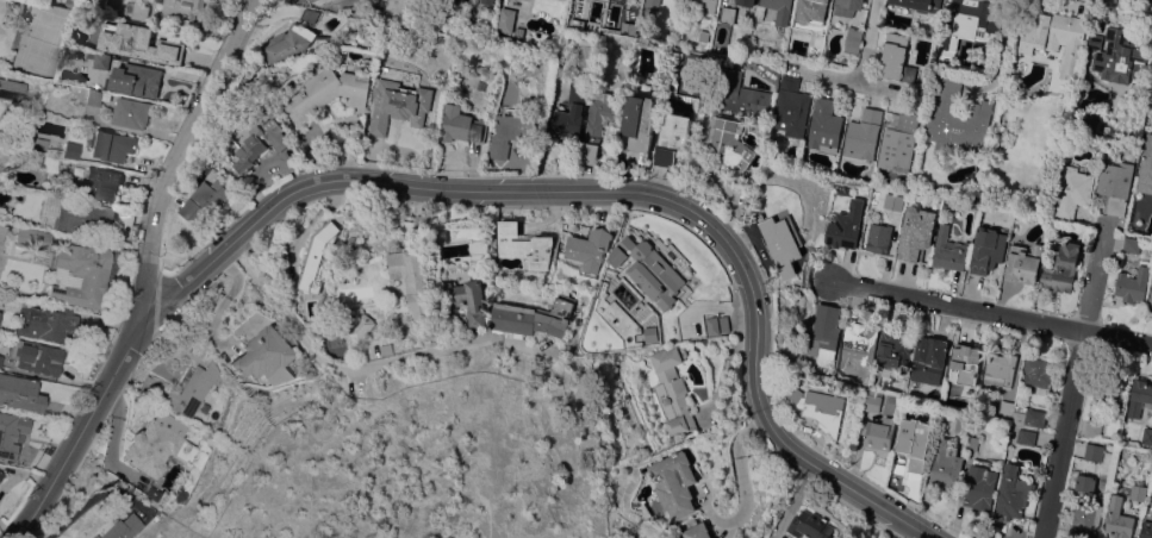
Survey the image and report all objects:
building: (486, 1)
building: (71, 2)
building: (746, 2)
building: (652, 4)
building: (708, 5)
building: (919, 5)
building: (846, 6)
building: (137, 10)
building: (779, 10)
building: (447, 11)
building: (810, 11)
building: (183, 12)
building: (311, 14)
building: (727, 14)
building: (506, 19)
building: (967, 23)
building: (1054, 37)
building: (853, 39)
building: (138, 42)
building: (289, 42)
building: (795, 43)
road: (872, 45)
building: (1116, 56)
building: (896, 58)
building: (101, 61)
building: (136, 79)
building: (11, 90)
building: (331, 92)
building: (96, 96)
building: (746, 98)
building: (399, 105)
building: (791, 107)
building: (131, 112)
building: (571, 114)
building: (957, 119)
building: (639, 121)
building: (729, 121)
building: (1090, 121)
building: (597, 123)
building: (461, 125)
building: (824, 126)
building: (512, 131)
building: (863, 134)
building: (672, 139)
building: (898, 142)
building: (39, 143)
building: (259, 144)
building: (111, 145)
building: (729, 146)
building: (71, 150)
road: (174, 151)
building: (39, 159)
building: (1146, 167)
building: (98, 183)
building: (1115, 186)
road: (486, 192)
building: (1072, 192)
building: (206, 200)
building: (895, 202)
building: (83, 217)
building: (422, 224)
building: (846, 225)
building: (2, 229)
building: (917, 231)
building: (879, 238)
building: (32, 239)
building: (783, 243)
building: (525, 245)
building: (1132, 245)
building: (587, 250)
building: (948, 250)
building: (986, 250)
building: (318, 254)
building: (1023, 263)
building: (1061, 268)
building: (648, 270)
building: (80, 275)
building: (411, 280)
building: (1132, 284)
building: (467, 300)
building: (1150, 301)
road: (219, 308)
road: (991, 314)
building: (558, 315)
building: (516, 318)
building: (49, 324)
building: (710, 325)
building: (361, 327)
building: (822, 332)
building: (859, 342)
building: (893, 348)
building: (386, 350)
building: (263, 355)
building: (37, 357)
building: (928, 358)
building: (1, 359)
building: (965, 364)
road: (366, 367)
building: (1001, 368)
building: (1039, 374)
building: (150, 386)
building: (191, 389)
building: (671, 389)
building: (30, 393)
building: (1107, 393)
building: (1140, 398)
road: (1071, 401)
building: (876, 402)
building: (821, 407)
building: (1005, 407)
building: (1028, 415)
building: (963, 424)
building: (1092, 430)
building: (878, 432)
building: (8, 433)
building: (1147, 436)
building: (1026, 437)
road: (111, 438)
building: (914, 443)
building: (973, 443)
building: (157, 444)
building: (1094, 451)
building: (947, 464)
building: (1, 475)
road: (741, 477)
building: (674, 483)
building: (1085, 483)
building: (979, 488)
building: (1138, 492)
building: (1013, 493)
building: (642, 511)
road: (486, 512)
building: (1085, 519)
building: (1119, 519)
building: (809, 525)
building: (122, 527)
building: (1146, 530)
building: (697, 531)

